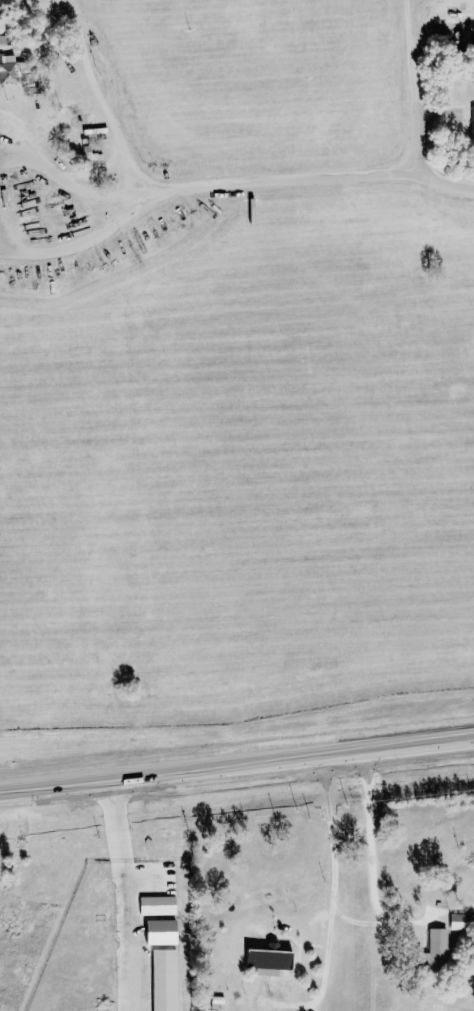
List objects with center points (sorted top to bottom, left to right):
building: (19, 74)
building: (0, 83)
road: (21, 129)
building: (0, 138)
road: (209, 187)
road: (156, 189)
road: (7, 250)
road: (237, 772)
road: (123, 860)
road: (329, 904)
road: (377, 918)
building: (463, 921)
building: (164, 933)
building: (440, 951)
building: (279, 968)
building: (167, 980)

